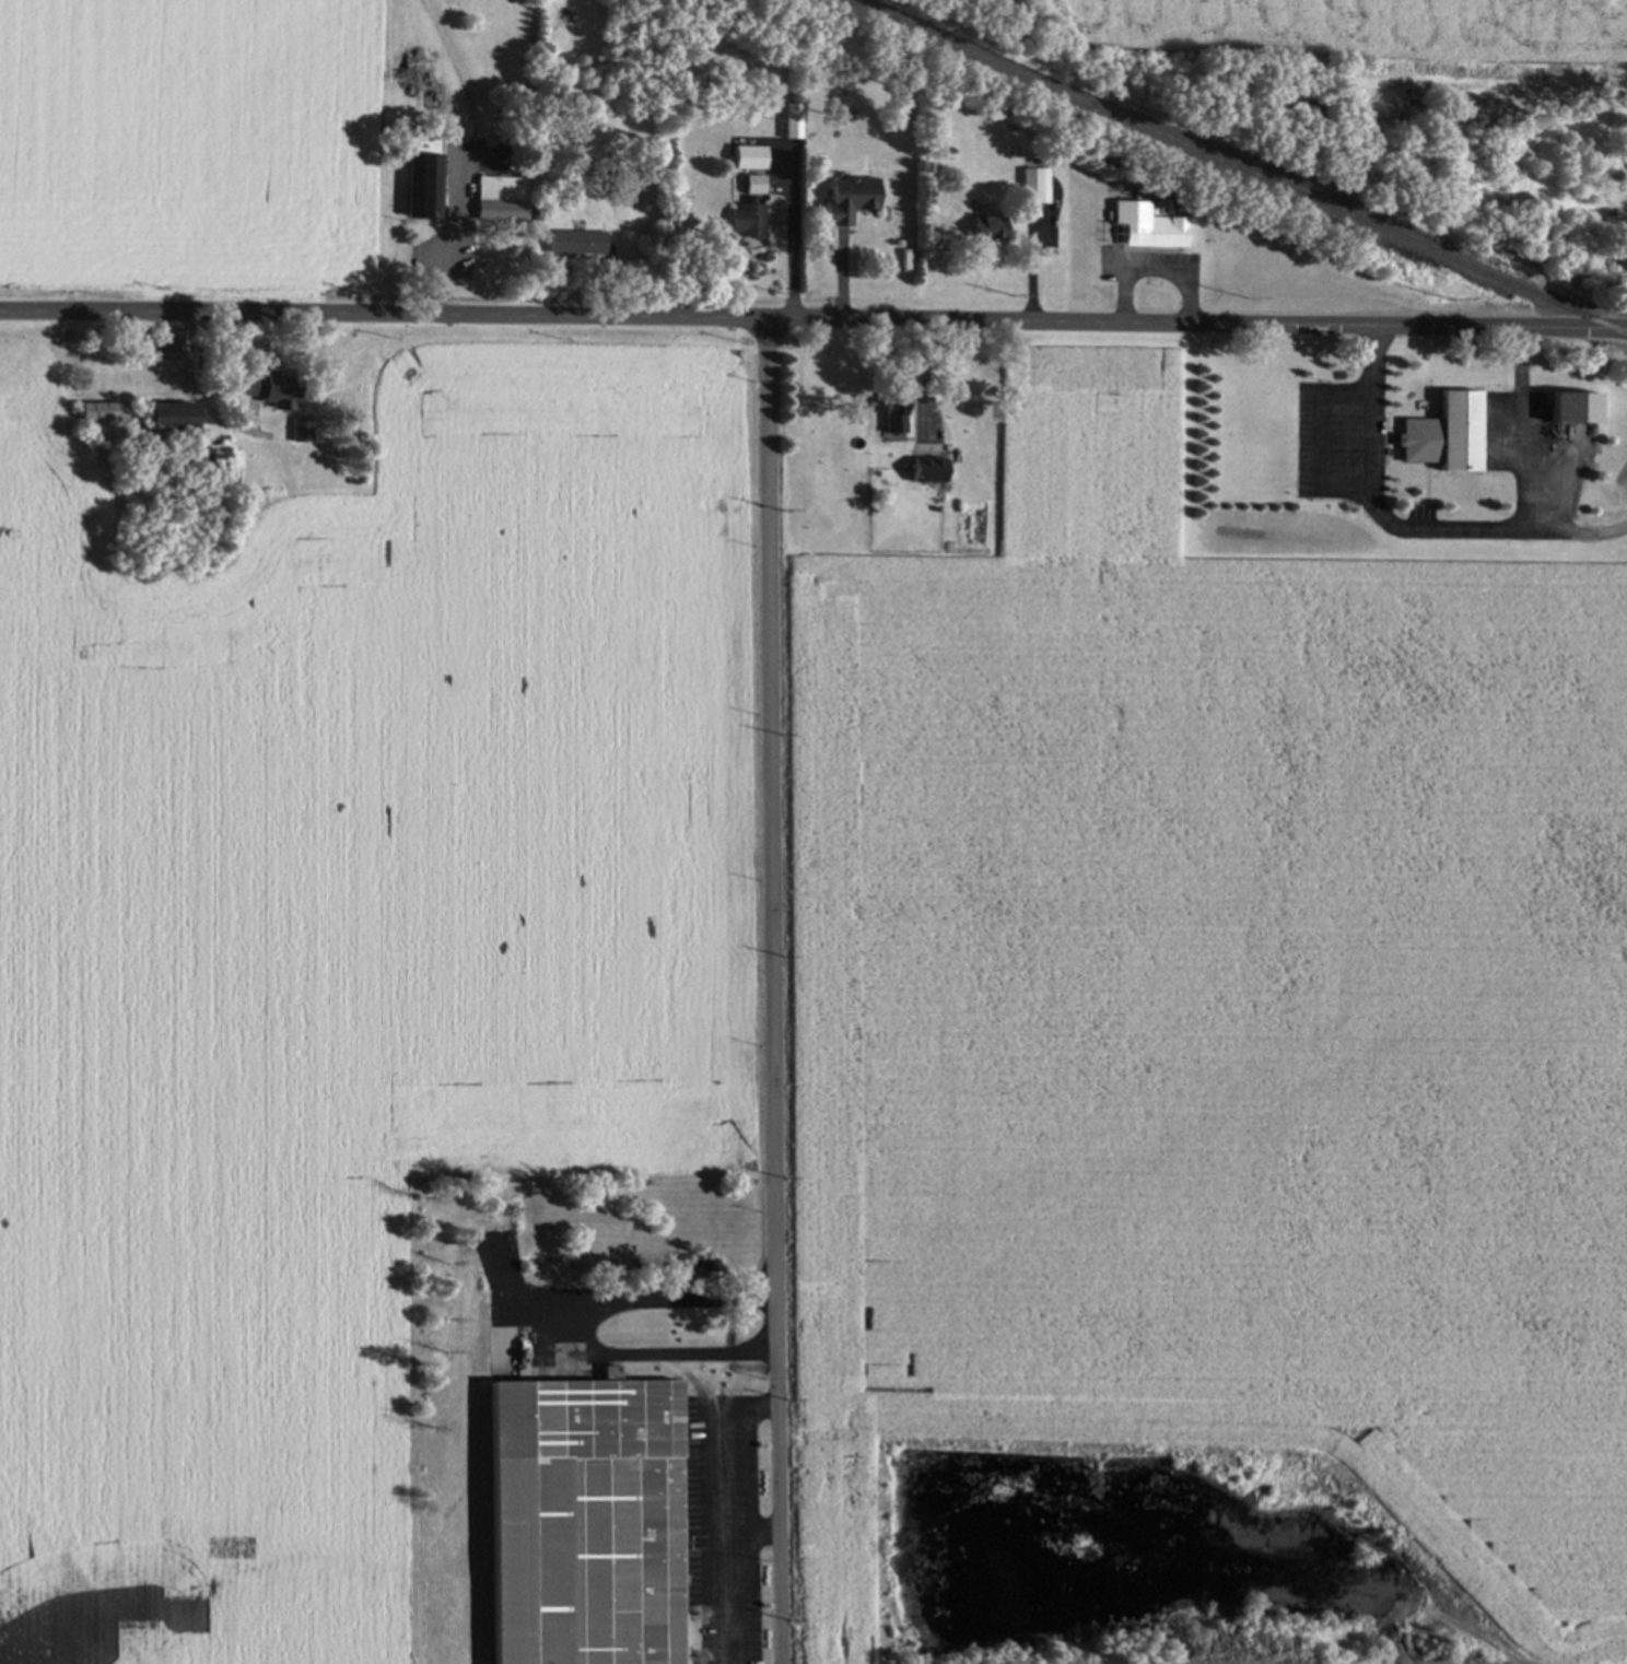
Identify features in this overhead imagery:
railway: (1240, 165)
building: (635, 184)
building: (753, 184)
building: (1035, 184)
building: (424, 187)
building: (501, 198)
building: (846, 199)
building: (746, 221)
building: (1146, 225)
building: (986, 227)
building: (575, 242)
building: (1623, 260)
road: (814, 314)
building: (269, 387)
building: (1571, 409)
building: (100, 410)
building: (892, 411)
building: (167, 414)
building: (301, 429)
building: (1444, 434)
building: (925, 469)
crop: (340, 956)
road: (774, 988)
building: (582, 1521)

